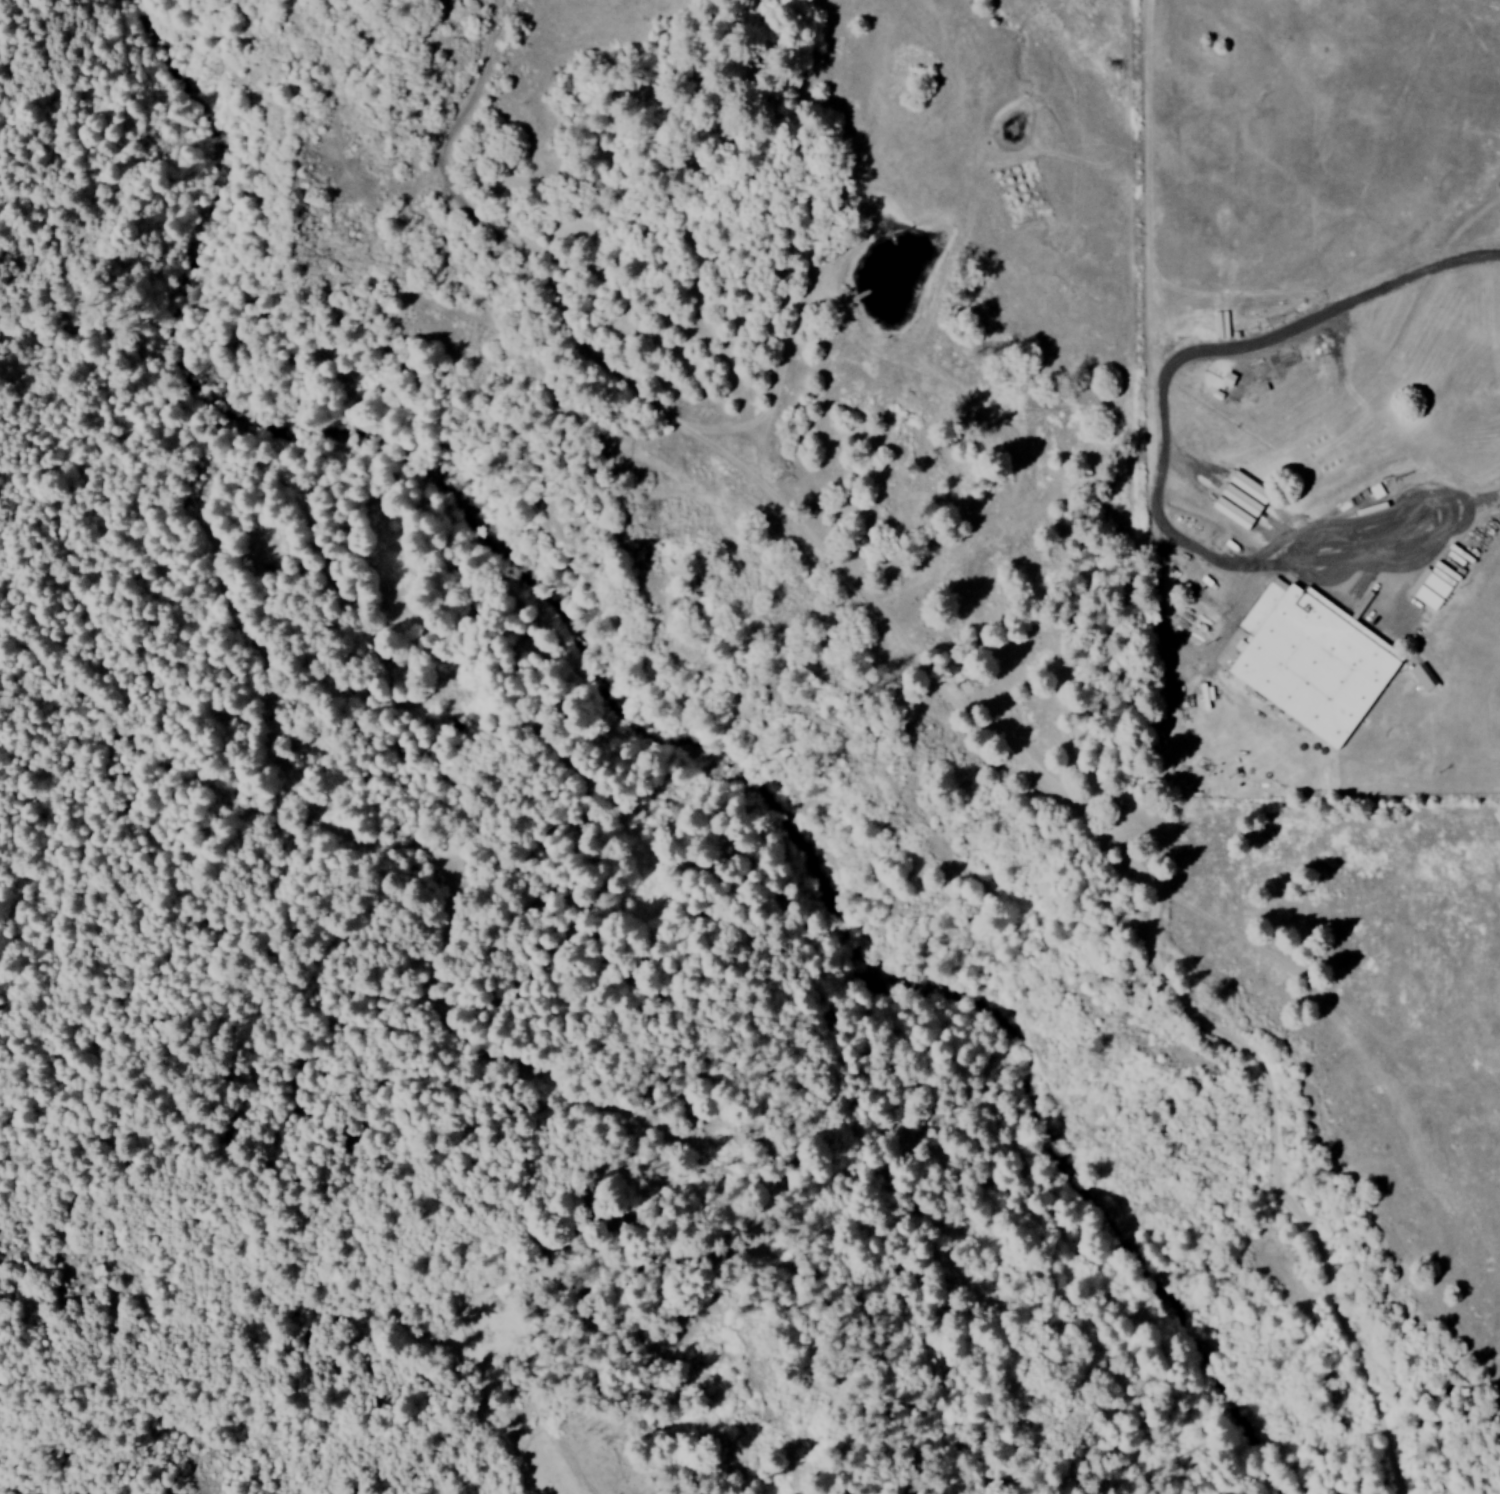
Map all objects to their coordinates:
road: (1383, 477)
building: (1245, 500)
building: (1316, 660)
building: (1425, 675)

